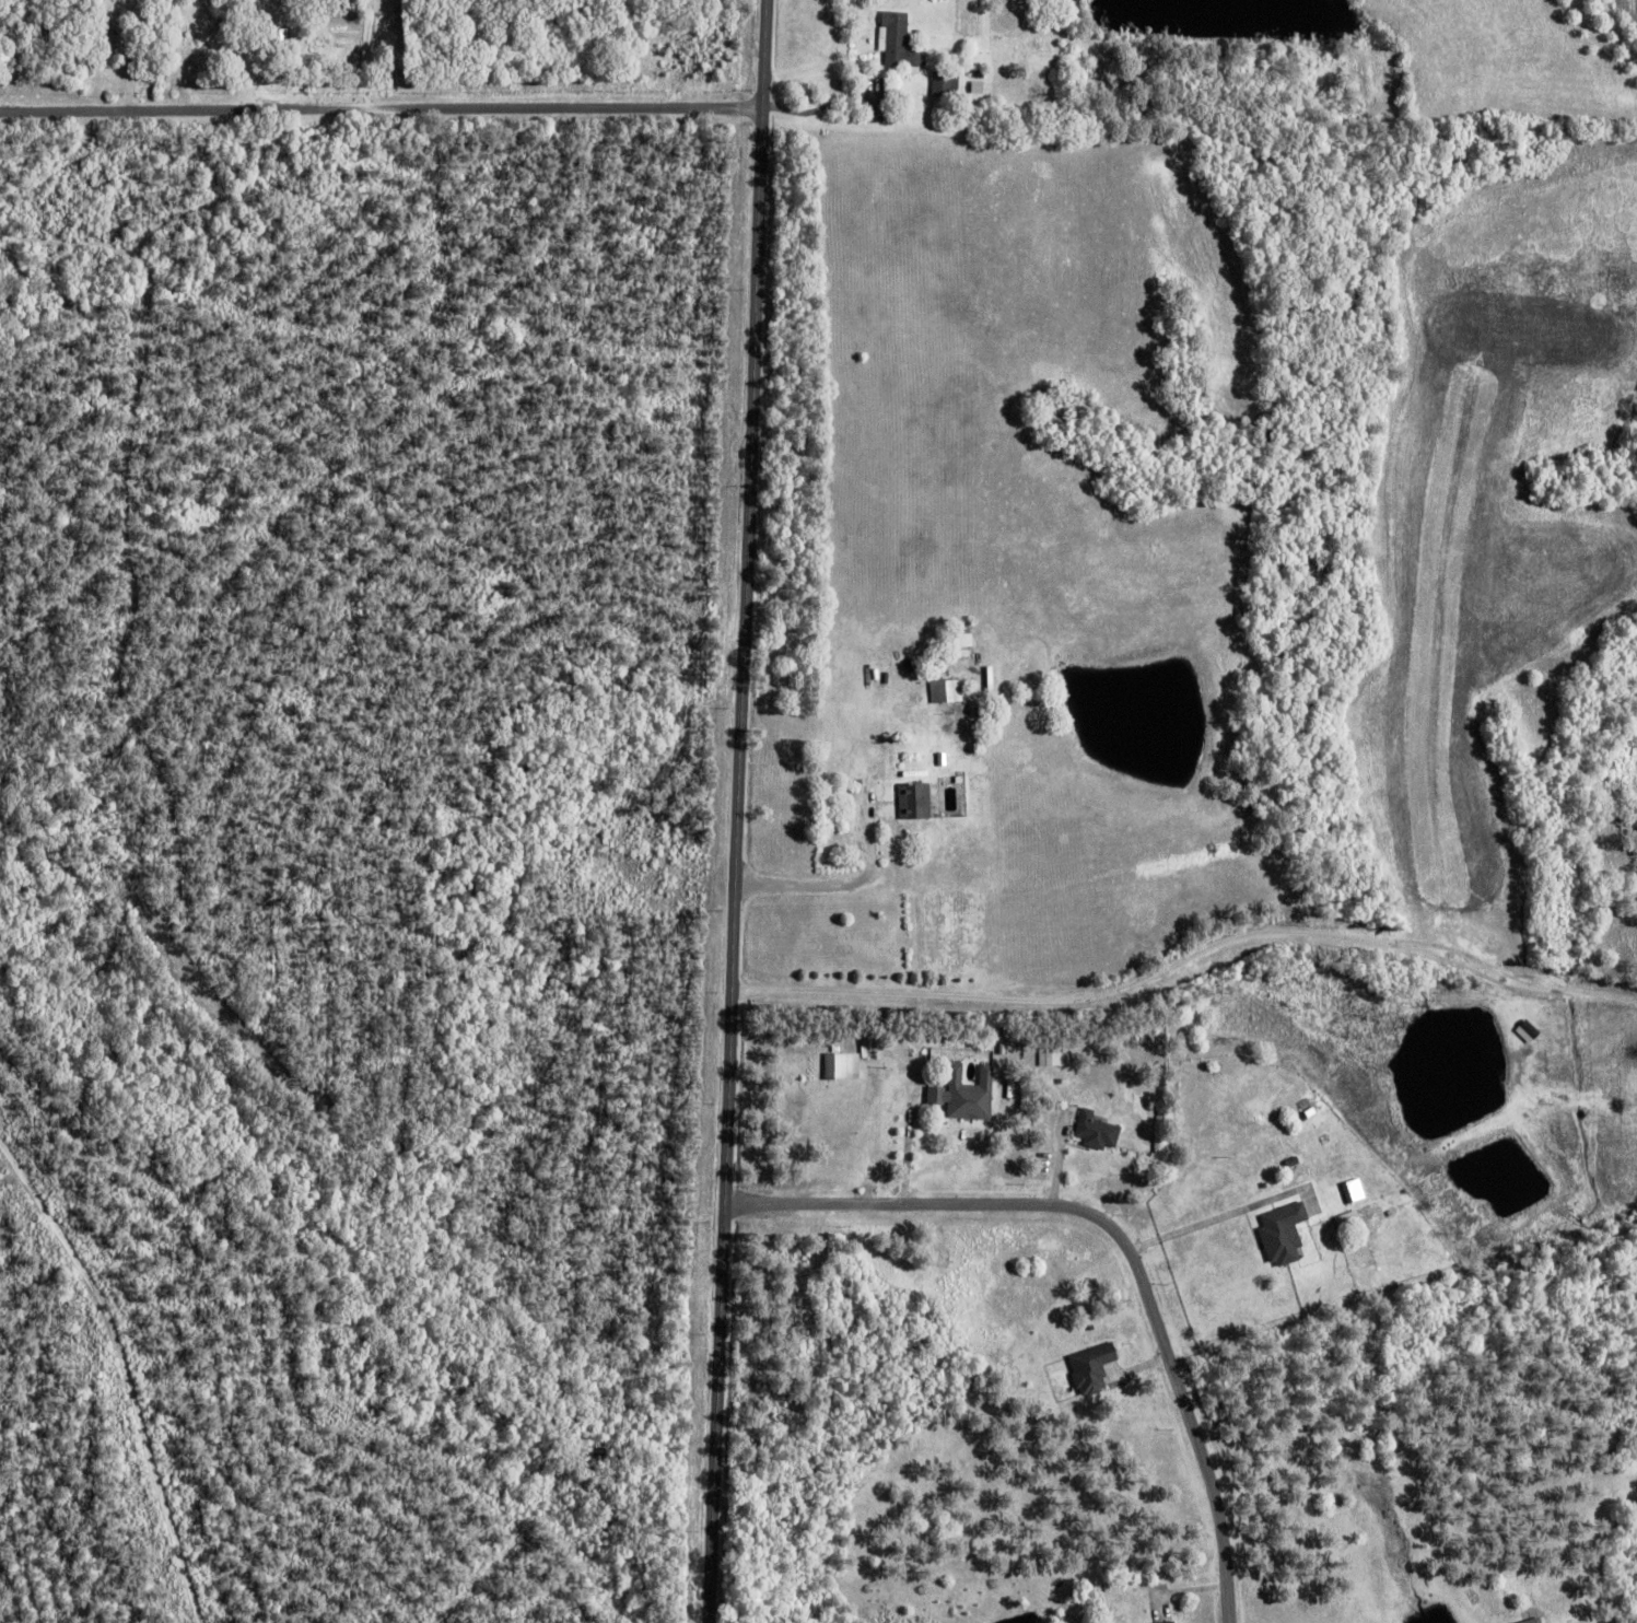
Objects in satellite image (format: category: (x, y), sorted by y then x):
building: (702, 28)
building: (900, 42)
building: (273, 43)
building: (185, 46)
building: (673, 50)
building: (300, 67)
building: (245, 73)
building: (980, 74)
building: (947, 86)
building: (1342, 94)
road: (382, 107)
building: (946, 688)
building: (915, 798)
road: (739, 810)
building: (904, 841)
road: (1186, 956)
building: (1051, 1058)
building: (842, 1064)
building: (966, 1091)
building: (1092, 1130)
building: (991, 1152)
road: (1205, 1222)
building: (1278, 1231)
road: (1122, 1237)
road: (130, 1367)
building: (1087, 1368)
building: (1527, 1620)
building: (1164, 1621)

